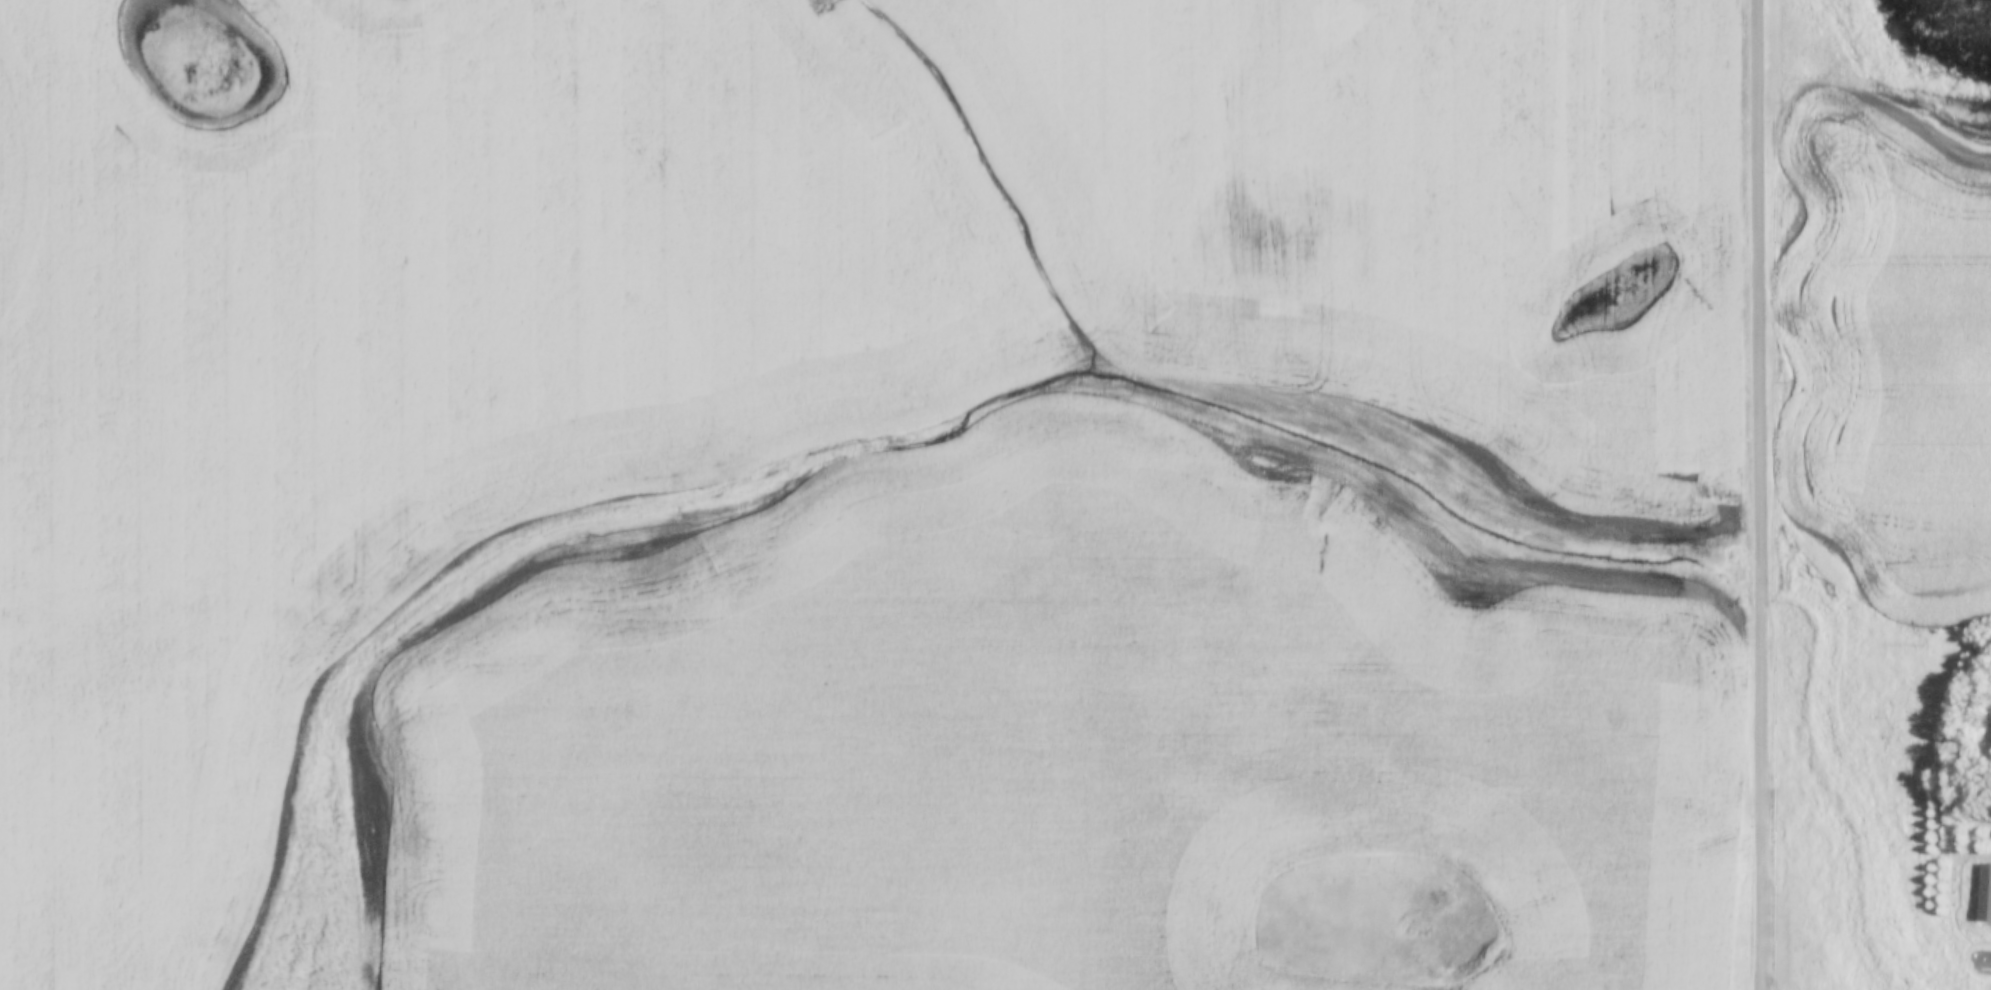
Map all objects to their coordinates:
road: (1764, 494)
building: (1987, 891)

